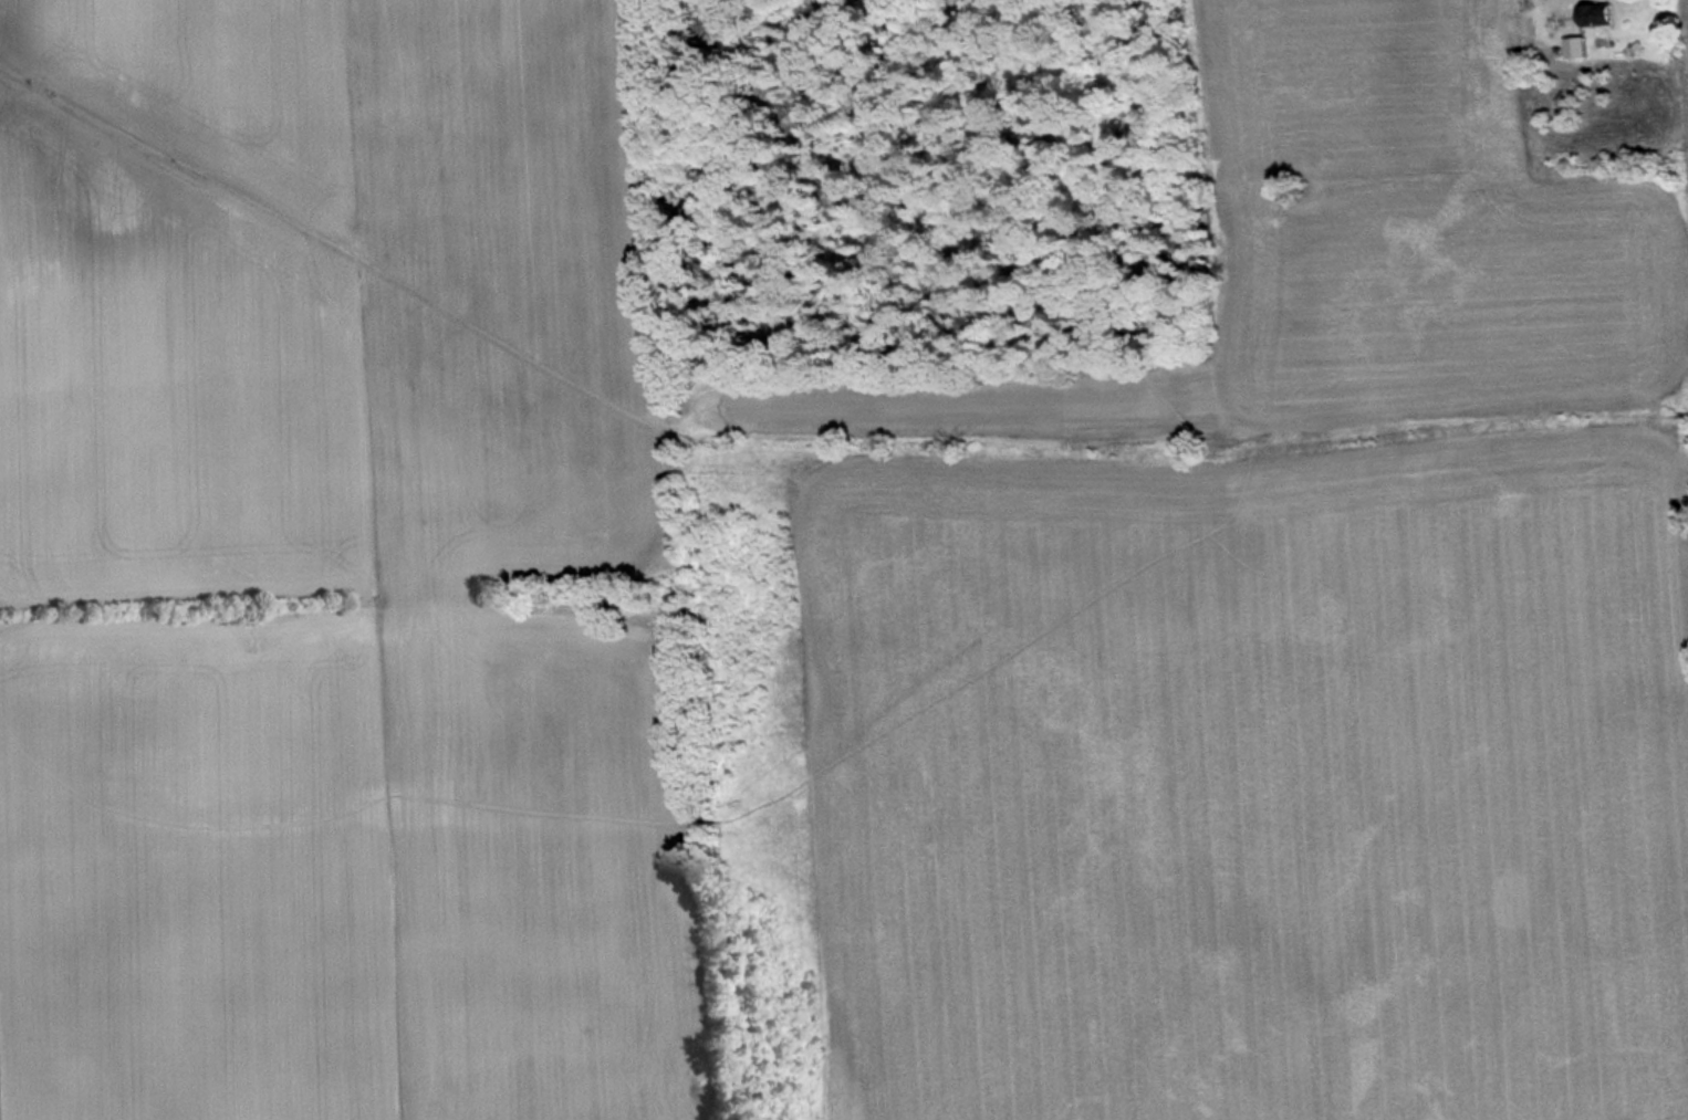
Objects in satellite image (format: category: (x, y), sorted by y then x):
building: (1522, 4)
building: (1606, 15)

